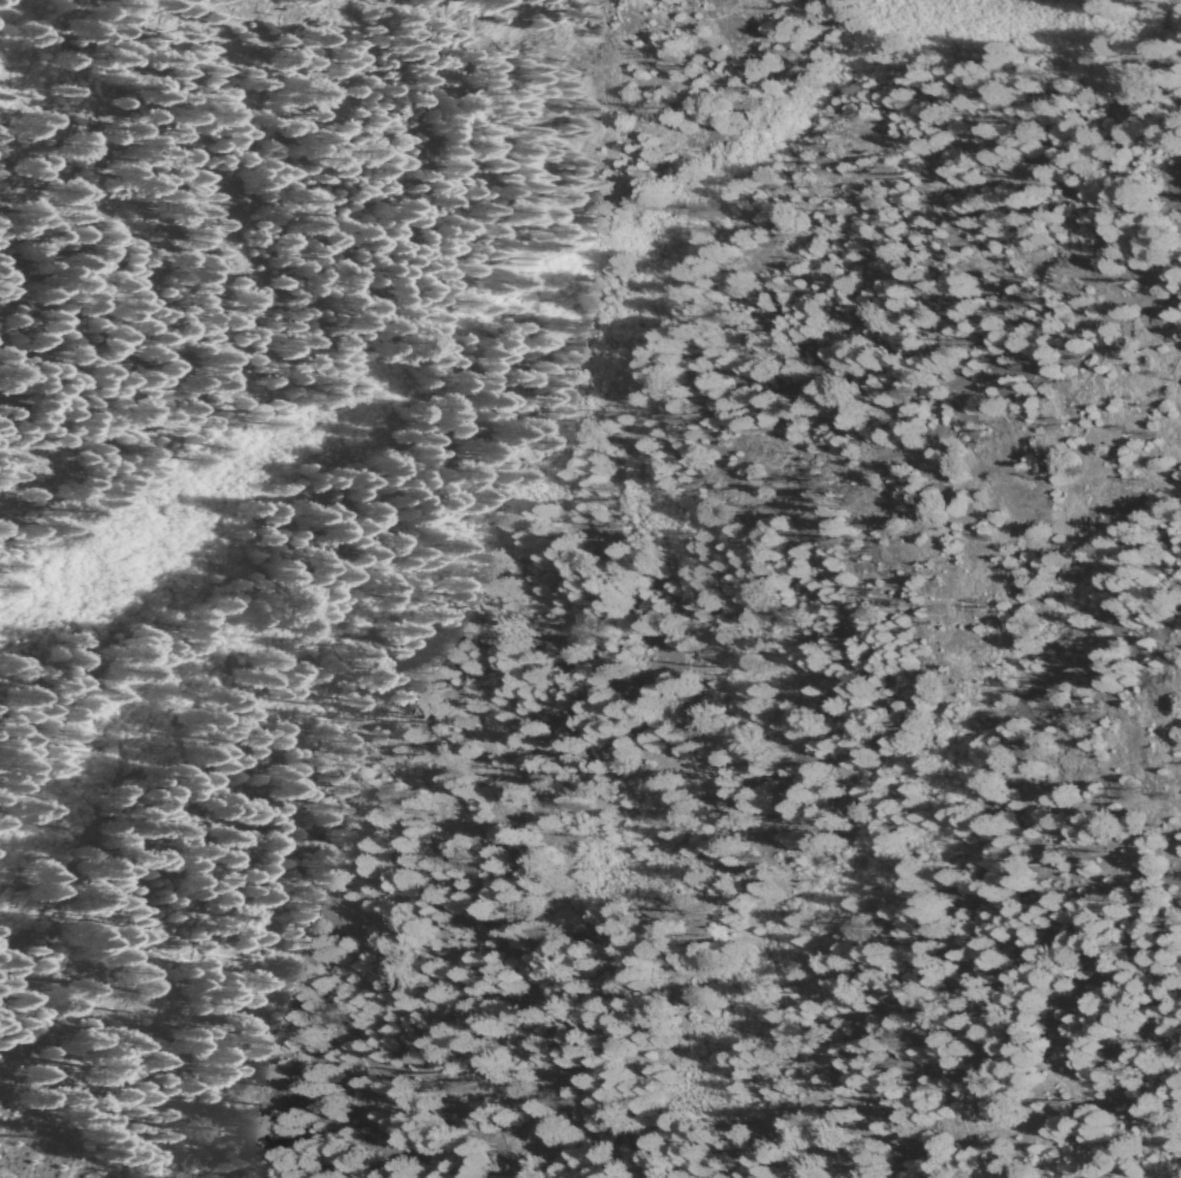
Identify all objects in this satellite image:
road: (1167, 11)

